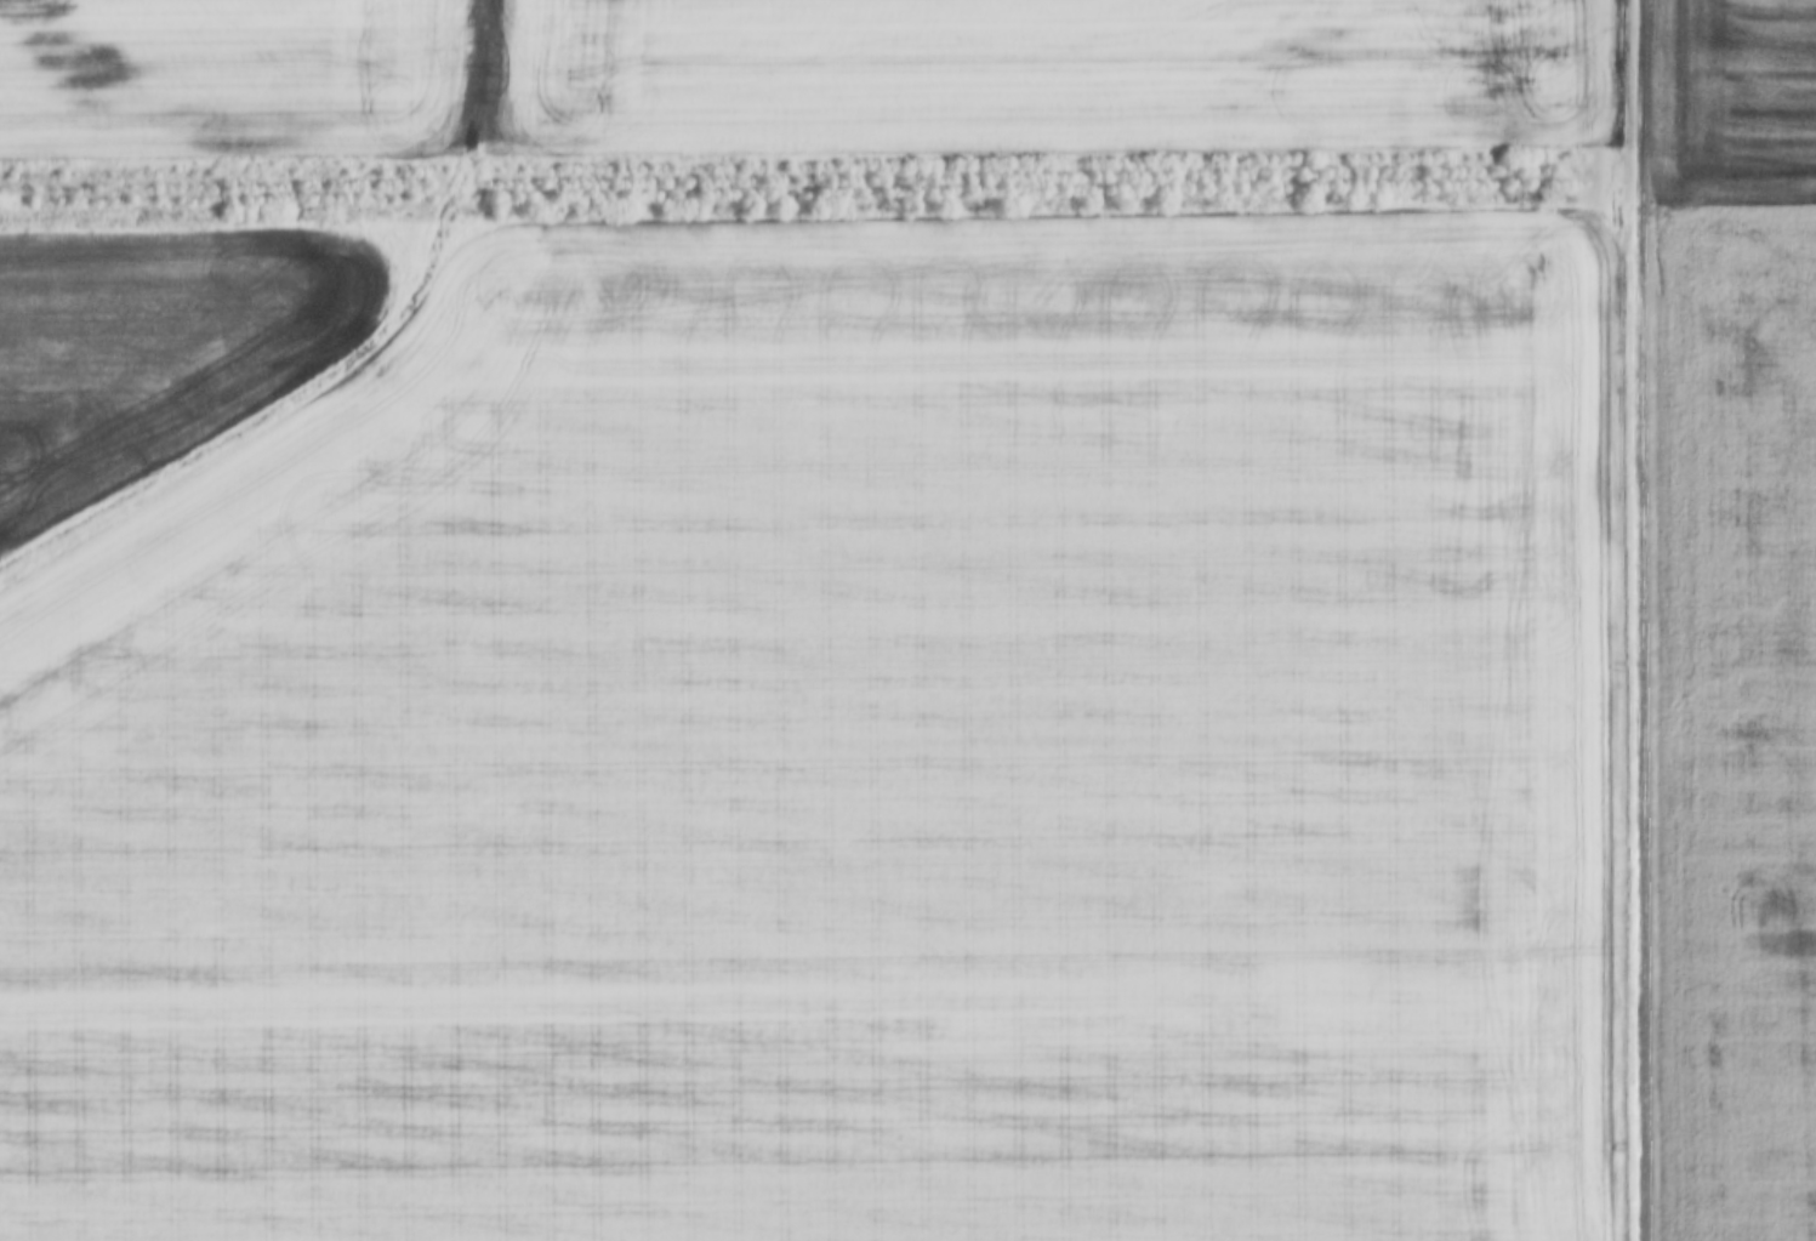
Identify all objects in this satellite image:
road: (1647, 620)

